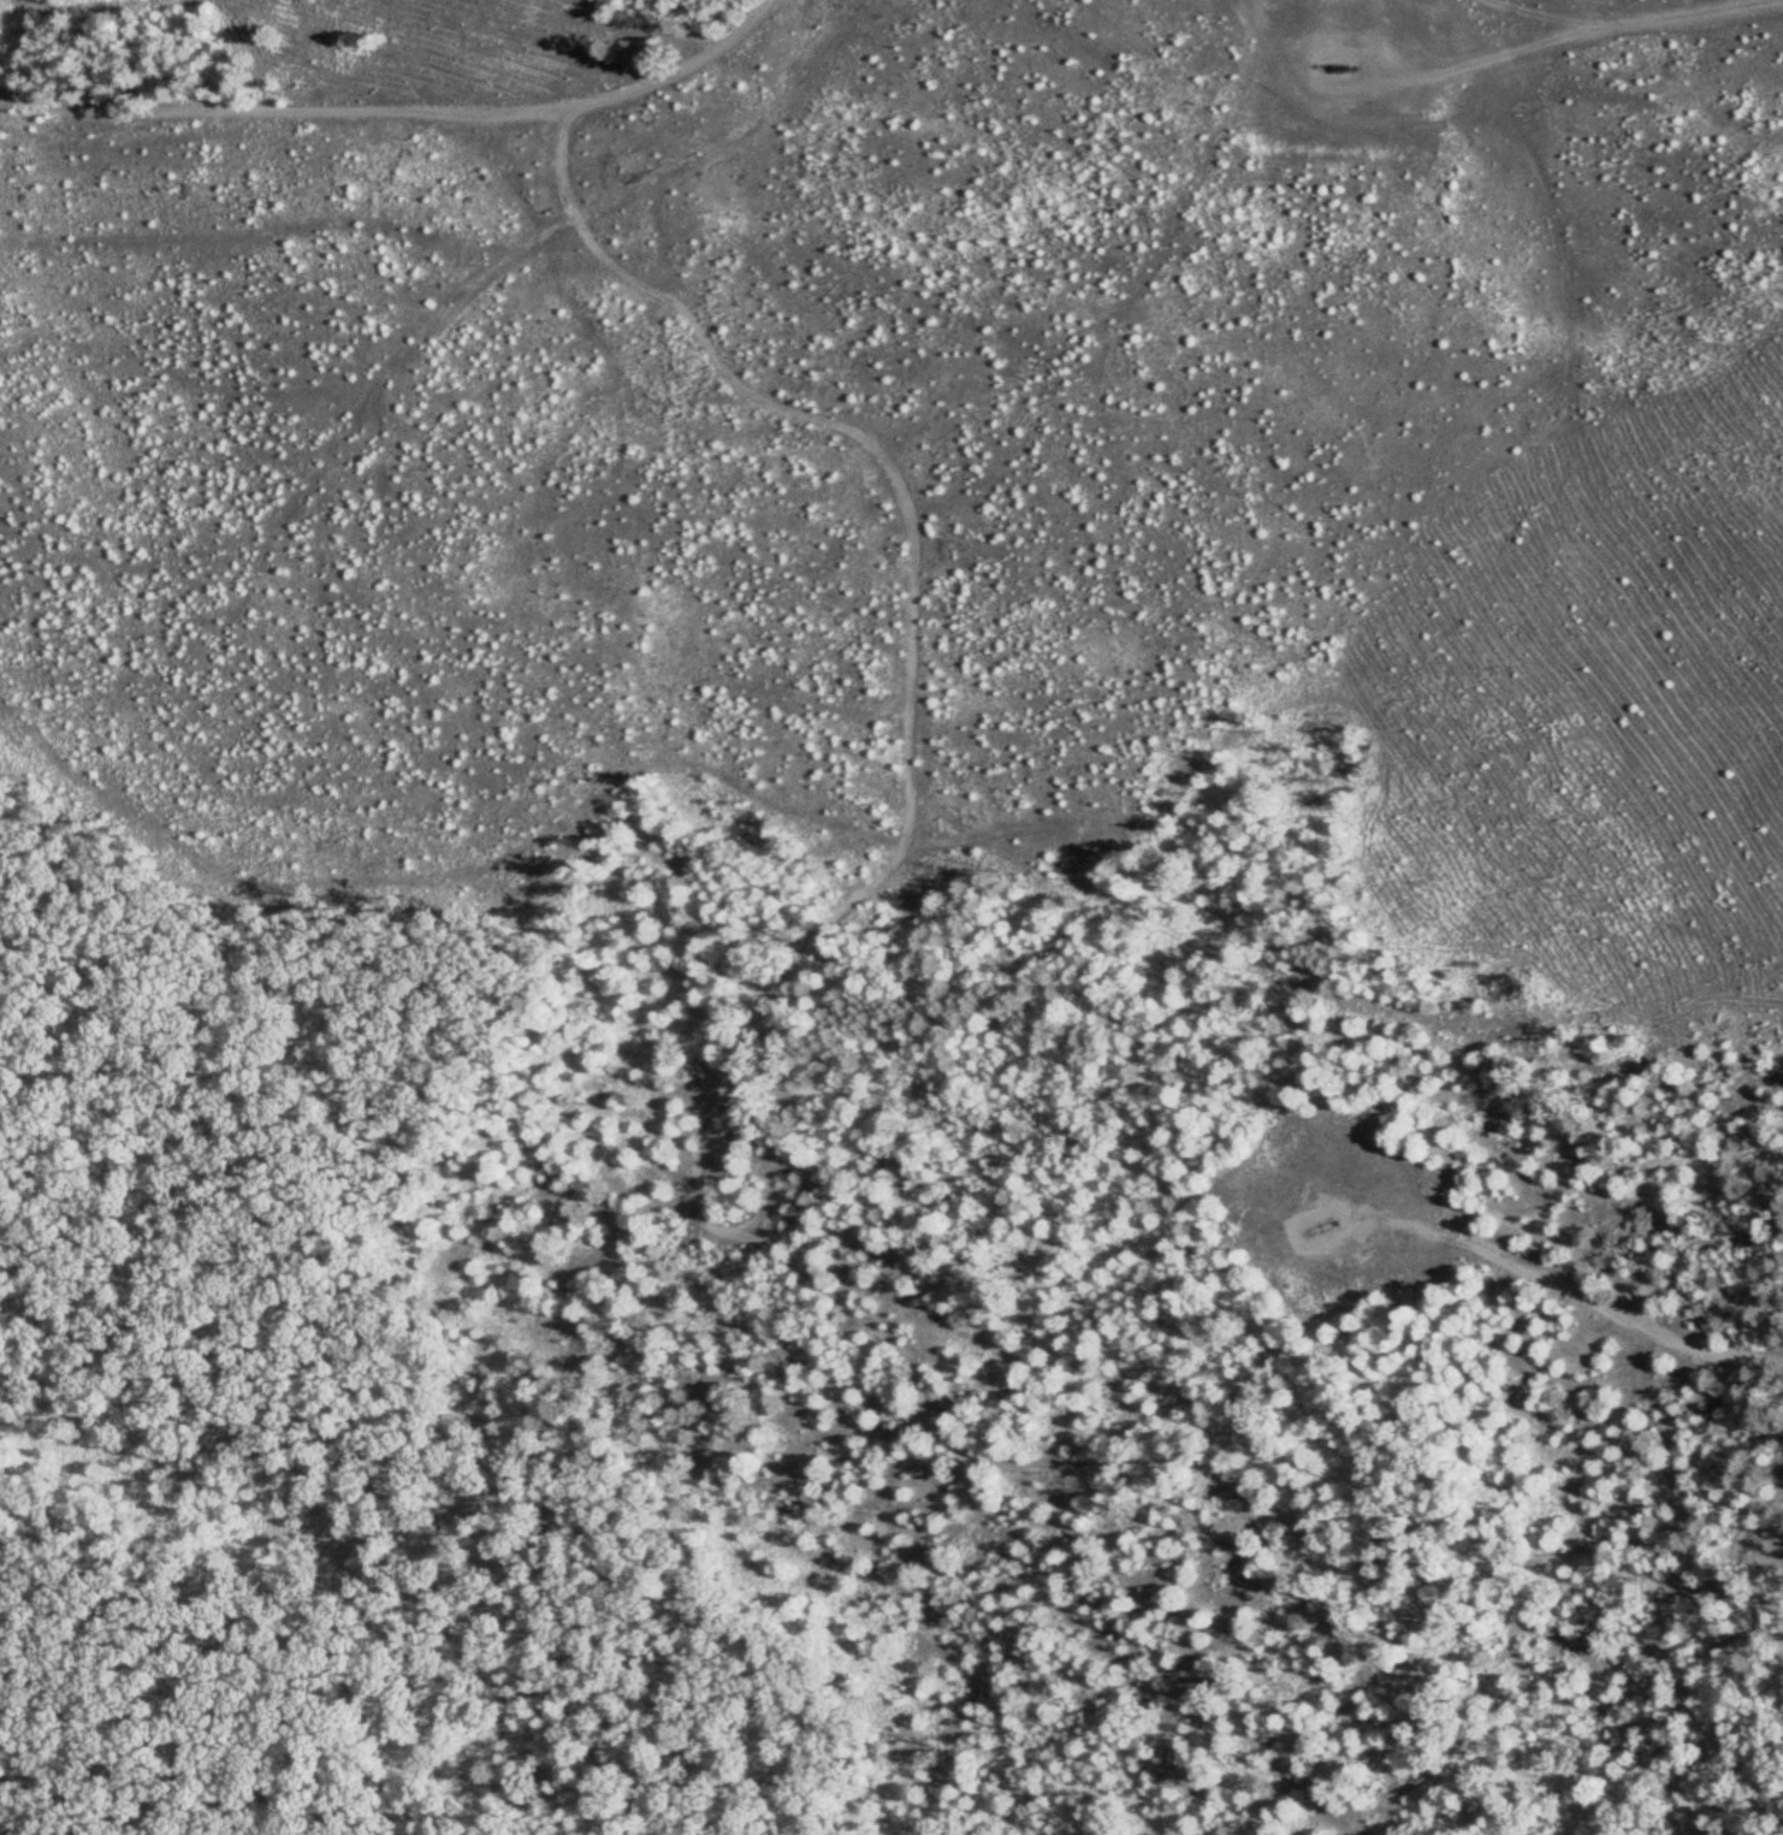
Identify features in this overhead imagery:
road: (1577, 40)
petroleum well: (1331, 73)
road: (404, 112)
petroleum well: (1311, 1221)
road: (1577, 1303)

